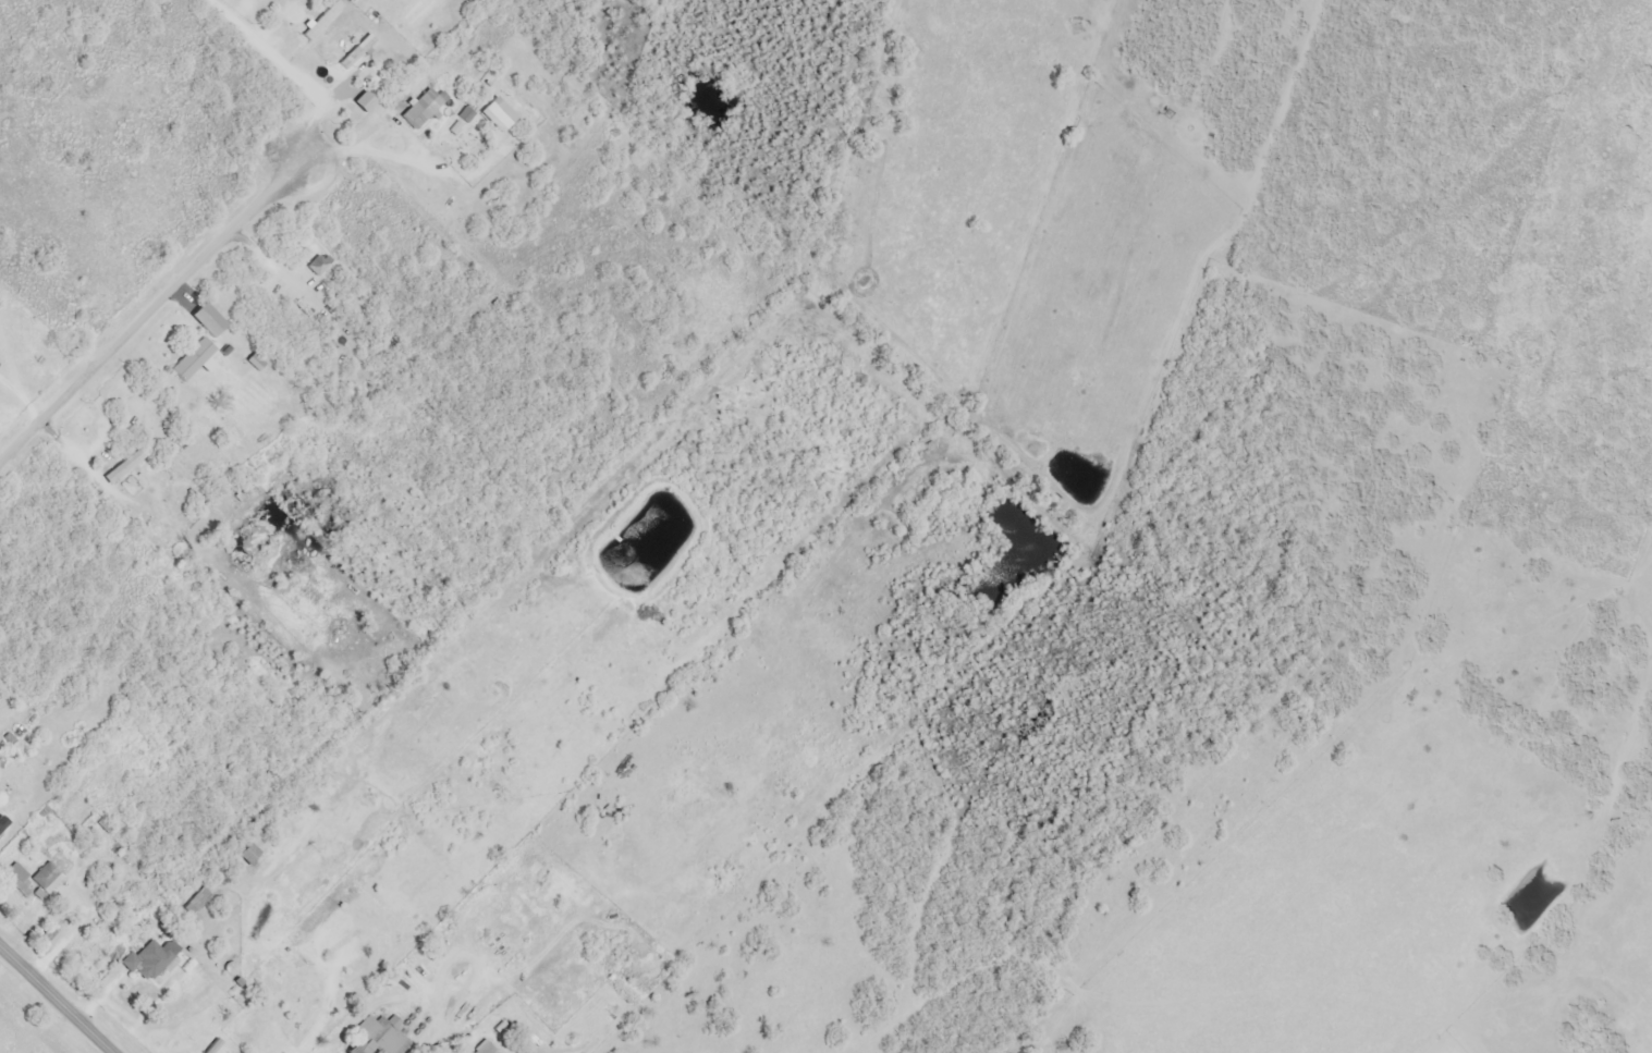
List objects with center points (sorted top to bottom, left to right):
building: (354, 53)
building: (362, 103)
building: (418, 110)
building: (499, 115)
building: (316, 267)
road: (160, 308)
building: (211, 334)
building: (189, 359)
building: (264, 378)
building: (121, 467)
building: (247, 855)
building: (16, 879)
building: (45, 879)
building: (150, 959)
road: (54, 1001)
building: (197, 1037)
building: (378, 1037)
building: (484, 1049)

